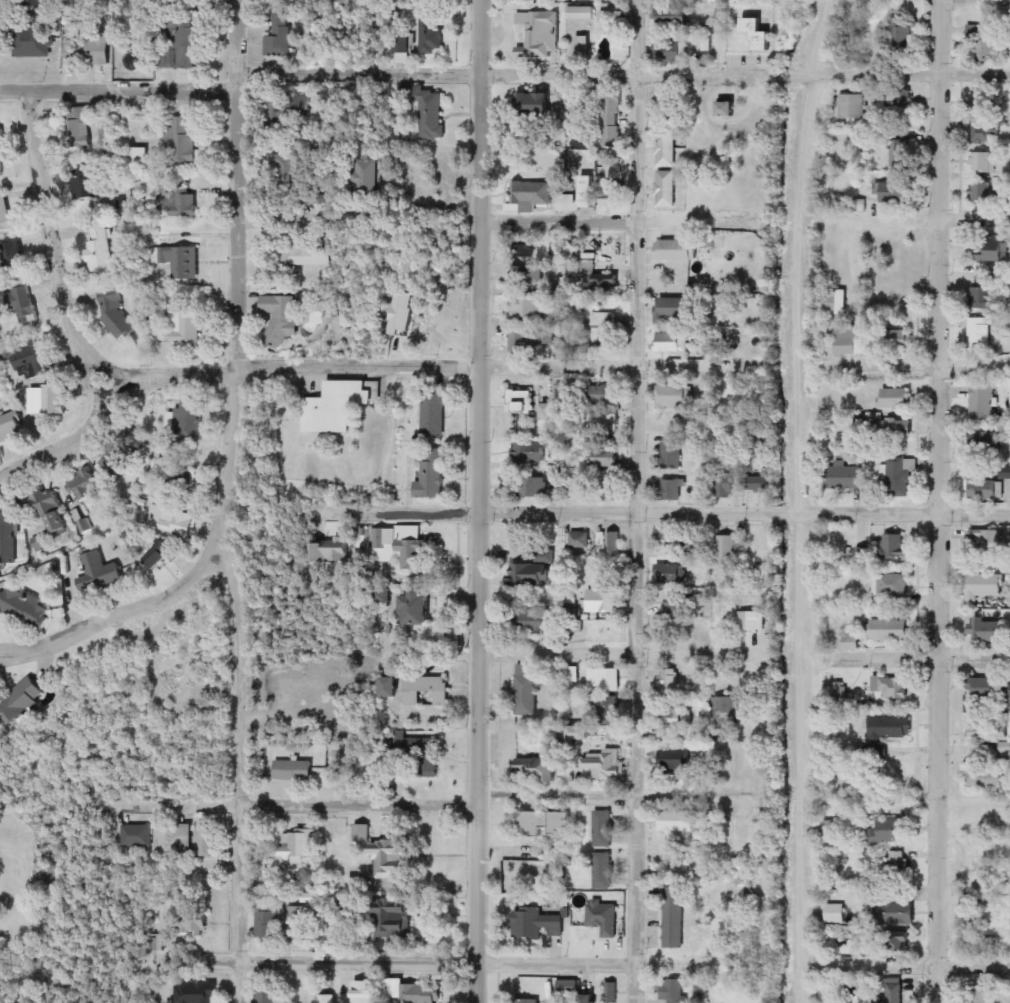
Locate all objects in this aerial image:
building: (583, 1)
building: (979, 1)
building: (36, 3)
building: (579, 14)
building: (674, 16)
building: (537, 32)
building: (759, 33)
building: (432, 35)
building: (898, 35)
road: (820, 36)
building: (282, 37)
building: (32, 41)
building: (403, 41)
building: (183, 42)
building: (583, 46)
building: (983, 46)
building: (87, 50)
building: (670, 53)
road: (622, 74)
road: (117, 91)
building: (900, 96)
building: (534, 106)
building: (851, 106)
building: (728, 109)
building: (286, 110)
building: (426, 110)
building: (611, 121)
building: (77, 127)
building: (405, 127)
road: (782, 130)
building: (985, 134)
building: (182, 139)
building: (665, 149)
building: (899, 150)
building: (2, 153)
building: (138, 156)
building: (982, 163)
building: (613, 169)
building: (287, 173)
building: (367, 178)
building: (87, 183)
building: (665, 189)
building: (587, 192)
building: (896, 192)
building: (983, 193)
building: (530, 195)
building: (612, 197)
building: (566, 202)
building: (179, 204)
building: (6, 213)
road: (904, 216)
road: (562, 219)
road: (305, 224)
road: (56, 234)
building: (100, 248)
building: (558, 248)
building: (993, 248)
building: (677, 250)
building: (13, 256)
building: (301, 257)
building: (182, 261)
building: (582, 267)
building: (699, 269)
building: (529, 275)
building: (607, 282)
building: (980, 299)
building: (837, 302)
building: (24, 304)
building: (529, 307)
building: (671, 308)
building: (114, 312)
building: (401, 313)
building: (282, 318)
building: (185, 326)
building: (602, 331)
building: (979, 333)
building: (851, 340)
building: (538, 342)
building: (673, 342)
road: (82, 356)
road: (402, 360)
building: (31, 361)
road: (903, 362)
building: (603, 395)
building: (674, 396)
building: (896, 398)
building: (49, 400)
building: (521, 402)
building: (981, 403)
building: (338, 406)
building: (551, 411)
building: (433, 414)
building: (160, 419)
building: (187, 424)
building: (604, 424)
building: (11, 427)
road: (73, 429)
building: (891, 429)
building: (133, 443)
building: (987, 444)
building: (531, 453)
building: (670, 455)
building: (604, 458)
building: (110, 463)
building: (432, 475)
building: (844, 476)
building: (899, 477)
building: (185, 480)
building: (757, 484)
building: (726, 485)
building: (84, 486)
building: (702, 486)
building: (534, 488)
building: (671, 490)
building: (987, 490)
railway: (807, 500)
road: (482, 501)
road: (636, 501)
road: (940, 501)
road: (231, 504)
building: (52, 511)
road: (667, 512)
building: (171, 519)
road: (798, 537)
building: (9, 539)
building: (576, 541)
building: (670, 541)
building: (985, 541)
building: (609, 542)
building: (399, 547)
building: (894, 547)
building: (728, 550)
building: (326, 551)
building: (163, 554)
building: (862, 555)
building: (534, 570)
building: (103, 573)
building: (670, 573)
building: (891, 585)
building: (985, 586)
building: (601, 601)
road: (122, 606)
building: (26, 608)
building: (416, 608)
building: (751, 621)
building: (535, 622)
building: (893, 631)
building: (988, 632)
road: (709, 650)
building: (165, 662)
building: (572, 675)
building: (603, 680)
building: (668, 680)
building: (389, 687)
building: (988, 688)
building: (891, 689)
building: (320, 690)
building: (425, 690)
building: (525, 690)
building: (23, 700)
building: (607, 708)
building: (724, 713)
building: (892, 728)
building: (988, 732)
building: (579, 733)
building: (416, 753)
building: (673, 758)
building: (604, 763)
building: (535, 769)
building: (293, 771)
building: (987, 779)
road: (458, 797)
road: (974, 799)
building: (677, 821)
building: (543, 824)
building: (603, 829)
building: (886, 831)
building: (361, 833)
building: (137, 836)
building: (195, 840)
building: (759, 840)
building: (295, 846)
building: (973, 858)
building: (390, 860)
building: (898, 863)
building: (602, 871)
building: (745, 892)
building: (967, 901)
building: (834, 913)
building: (898, 914)
building: (602, 918)
building: (673, 918)
building: (392, 919)
building: (301, 922)
building: (196, 923)
building: (536, 924)
building: (271, 927)
road: (470, 963)
road: (904, 966)
building: (567, 987)
building: (675, 990)
building: (893, 991)
building: (196, 992)
building: (365, 992)
building: (610, 993)
building: (419, 994)
building: (268, 995)
building: (980, 995)
building: (325, 999)
building: (589, 999)
building: (532, 1001)

